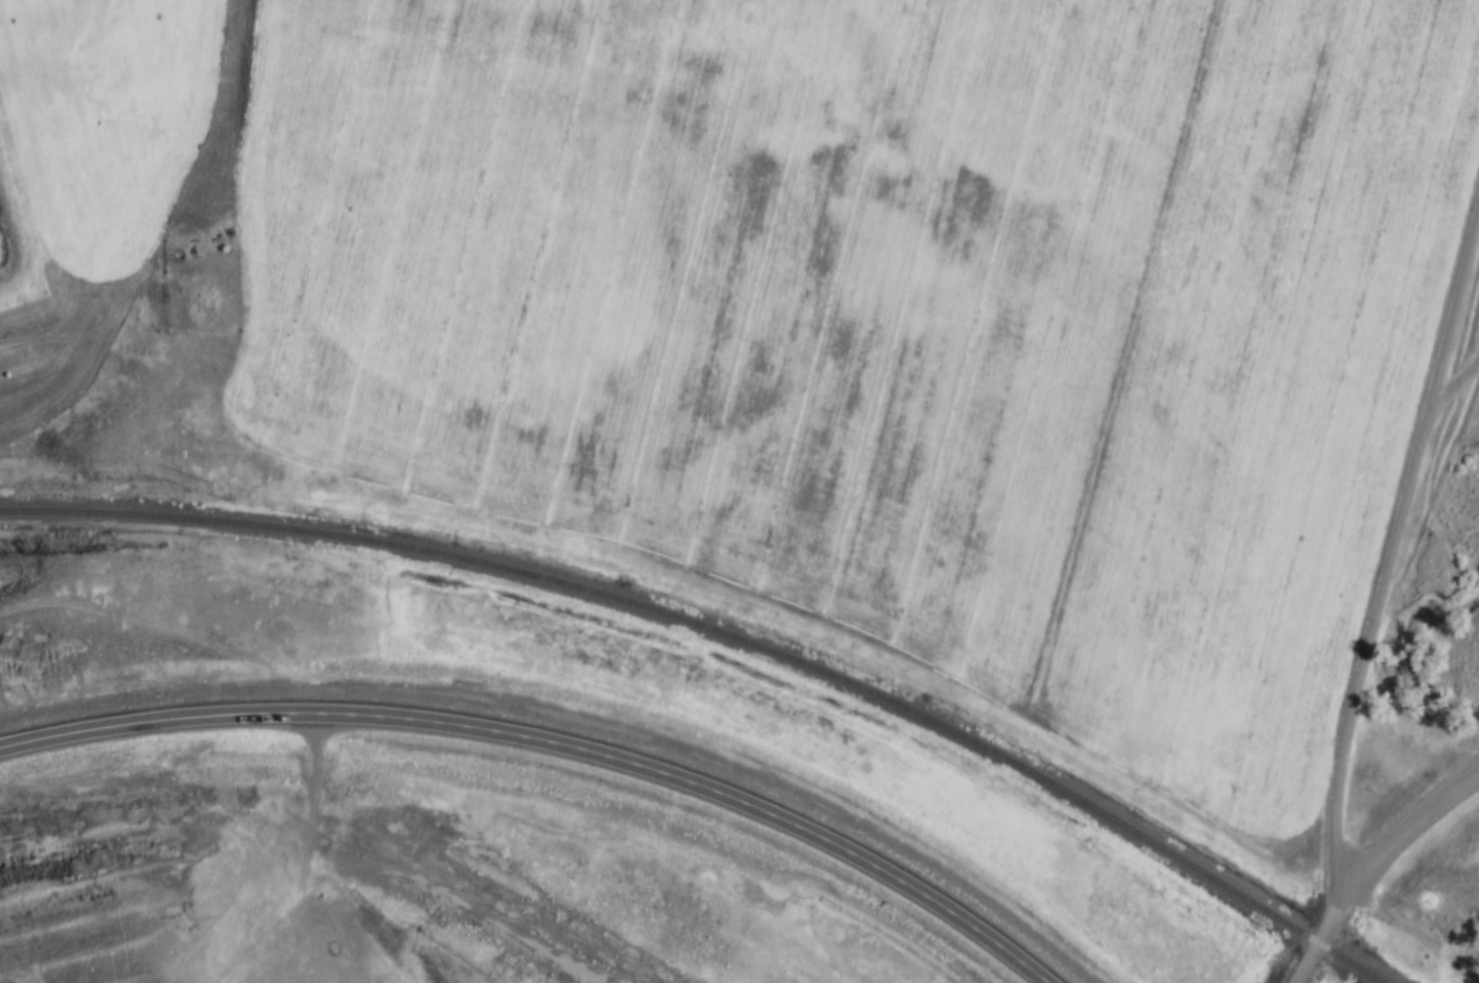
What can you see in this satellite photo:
road: (15, 229)
road: (1452, 384)
road: (1391, 547)
railway: (727, 639)
road: (553, 741)
road: (310, 769)
road: (1399, 826)
road: (1315, 942)

